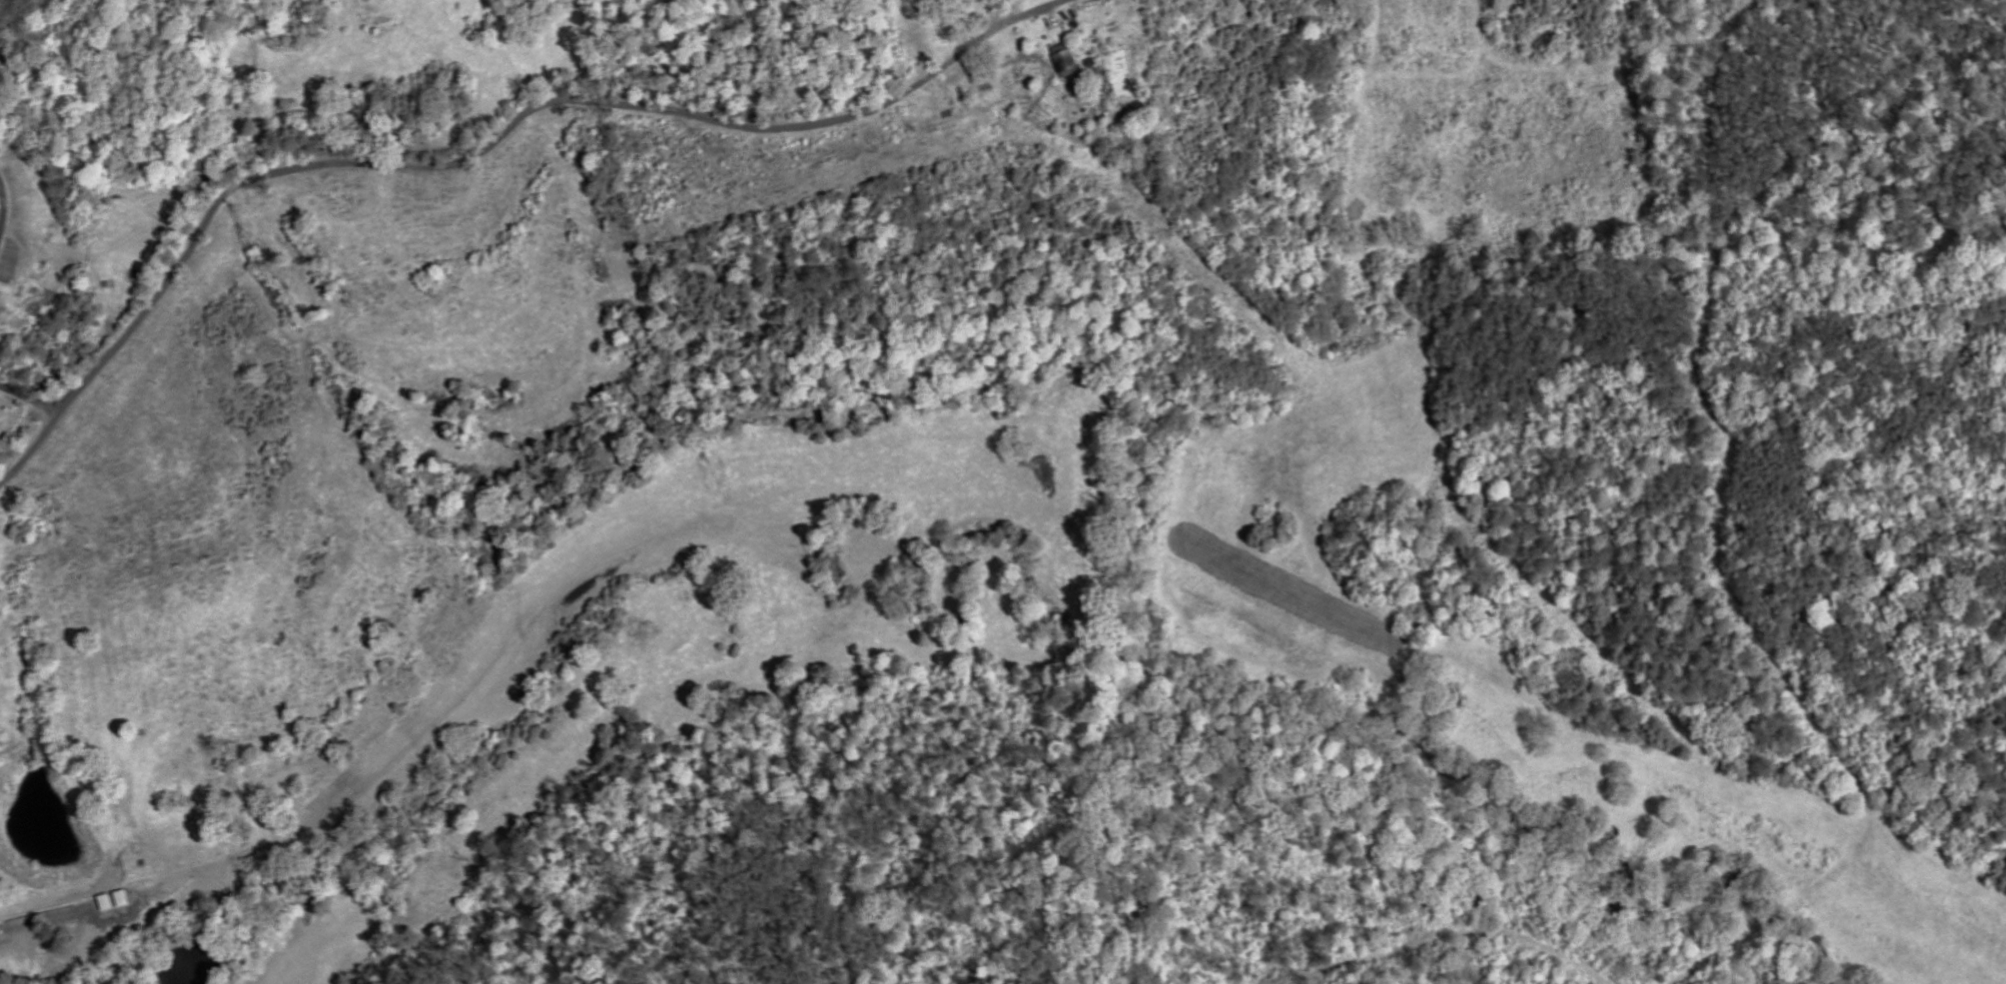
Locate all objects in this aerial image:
building: (1066, 60)
road: (475, 153)
building: (0, 935)

